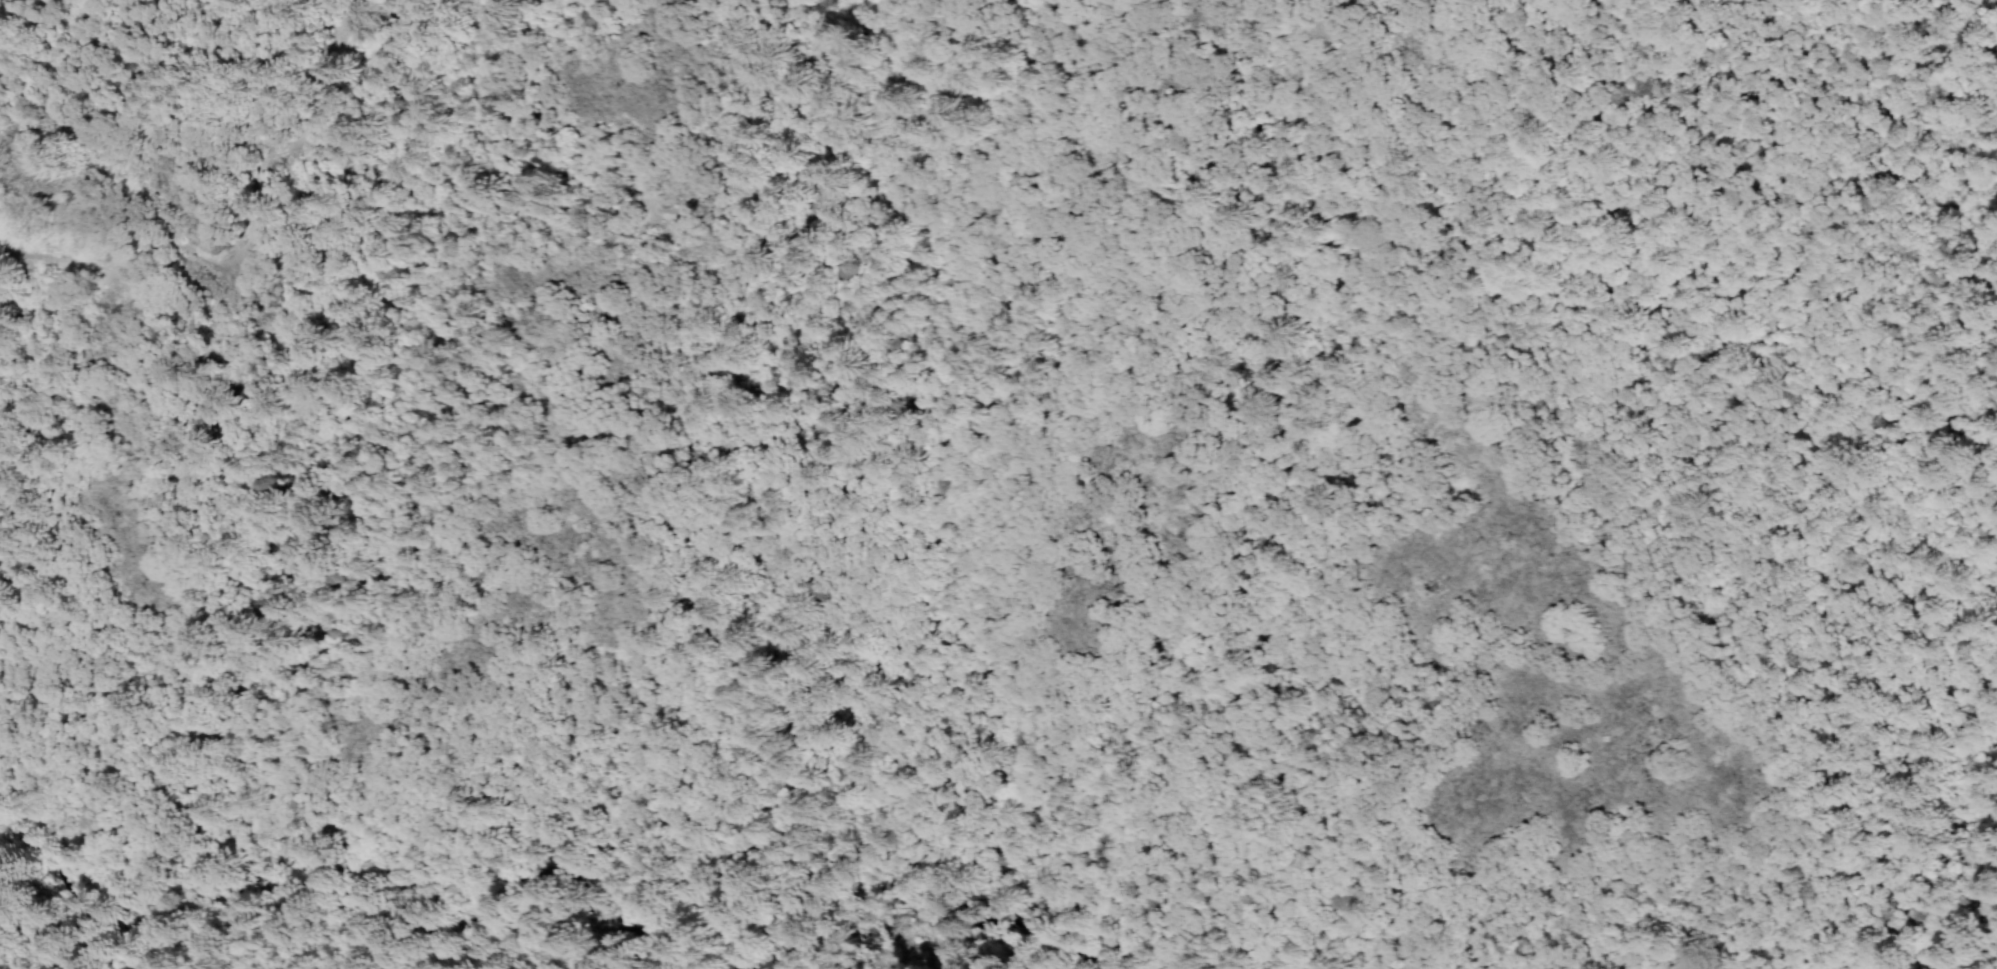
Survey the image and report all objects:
road: (43, 50)
road: (652, 212)
road: (240, 236)

